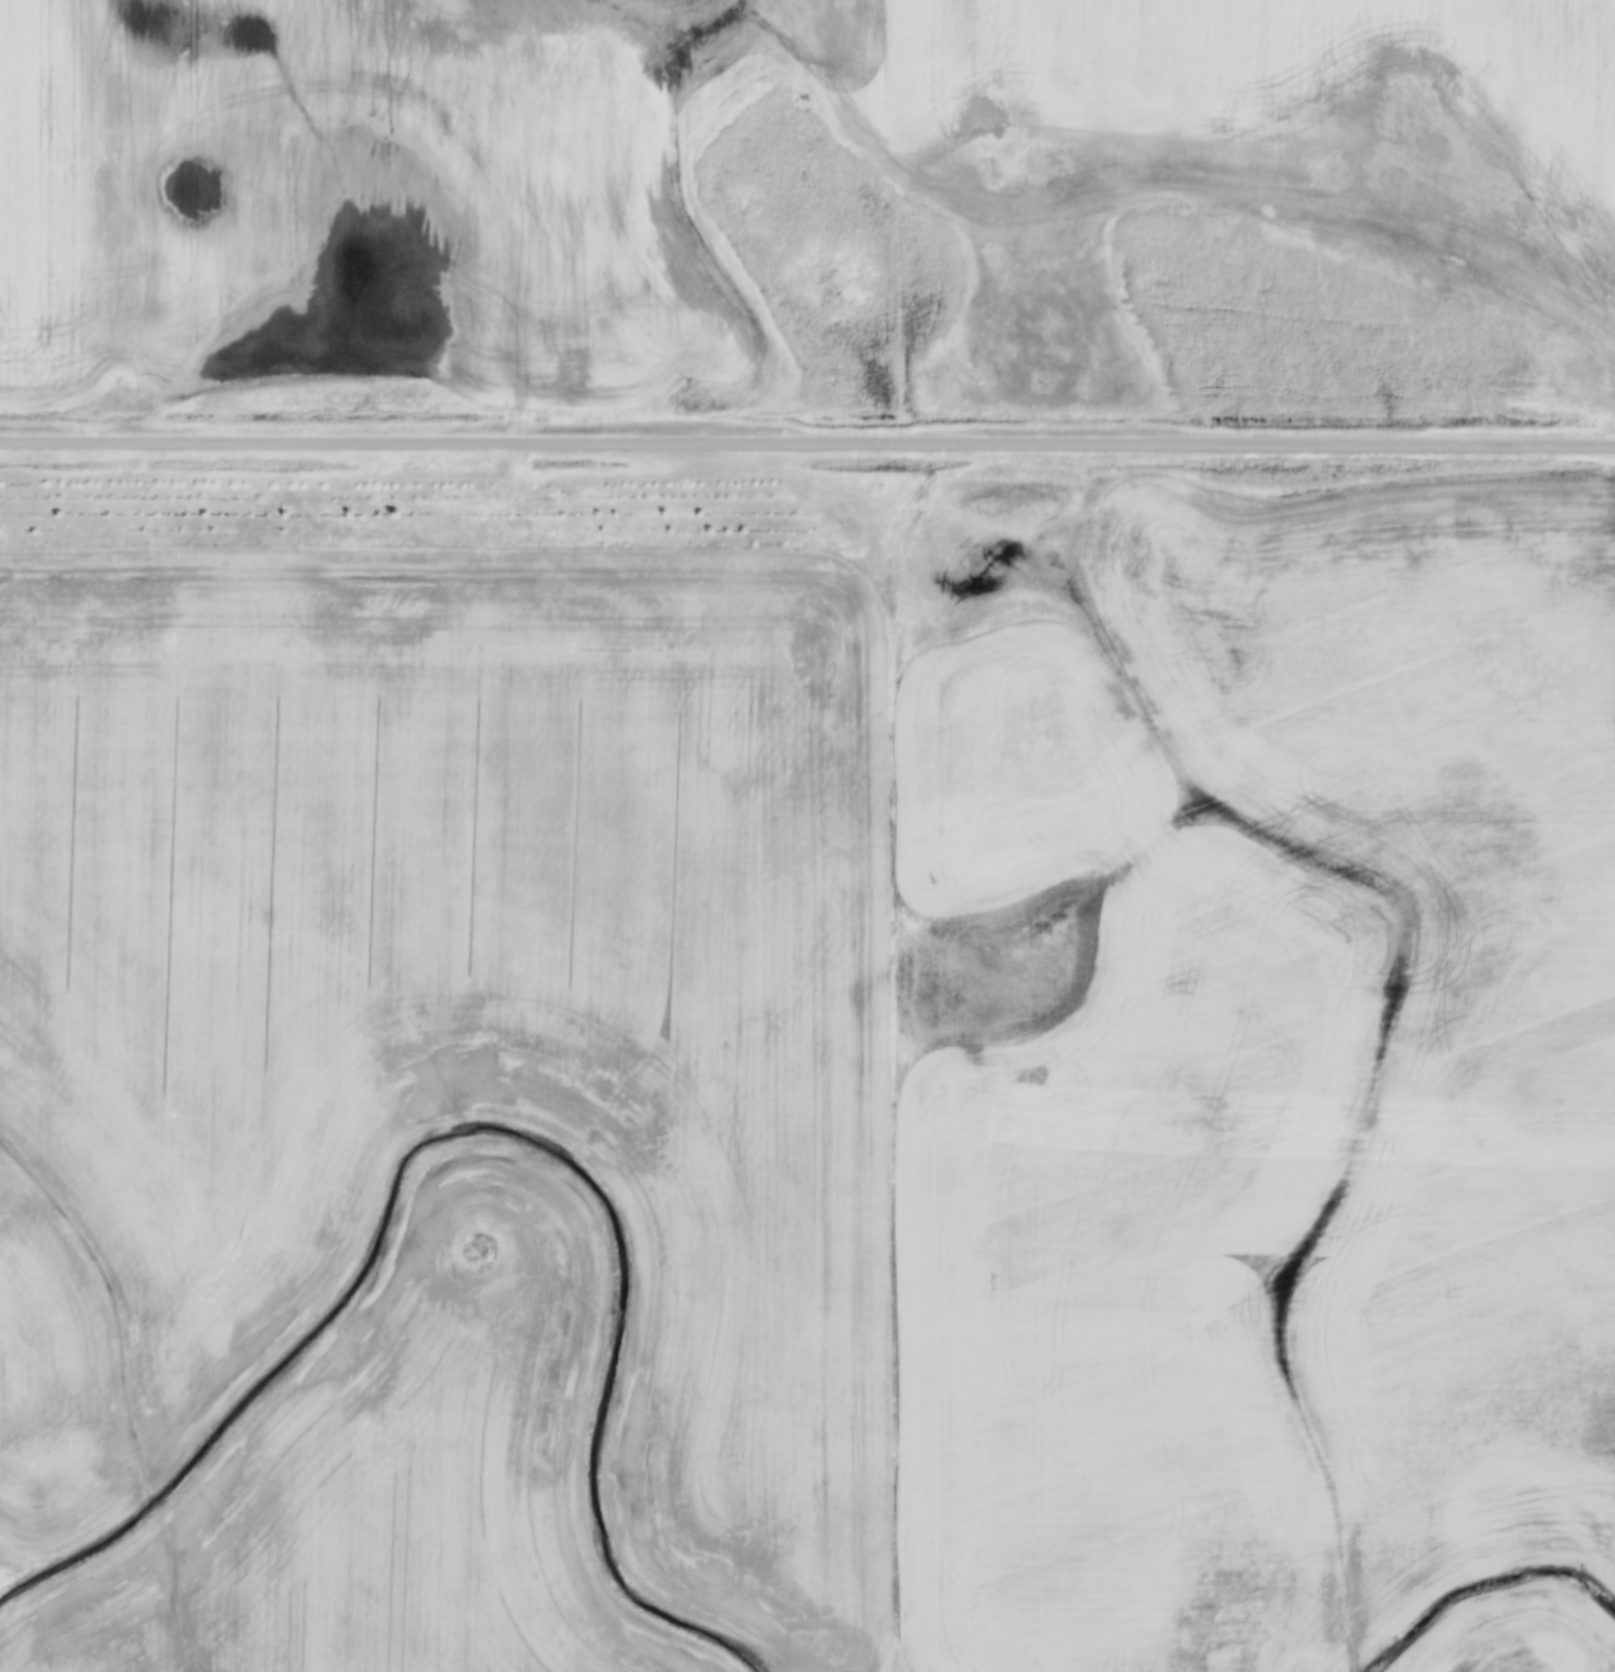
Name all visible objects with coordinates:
road: (807, 438)

